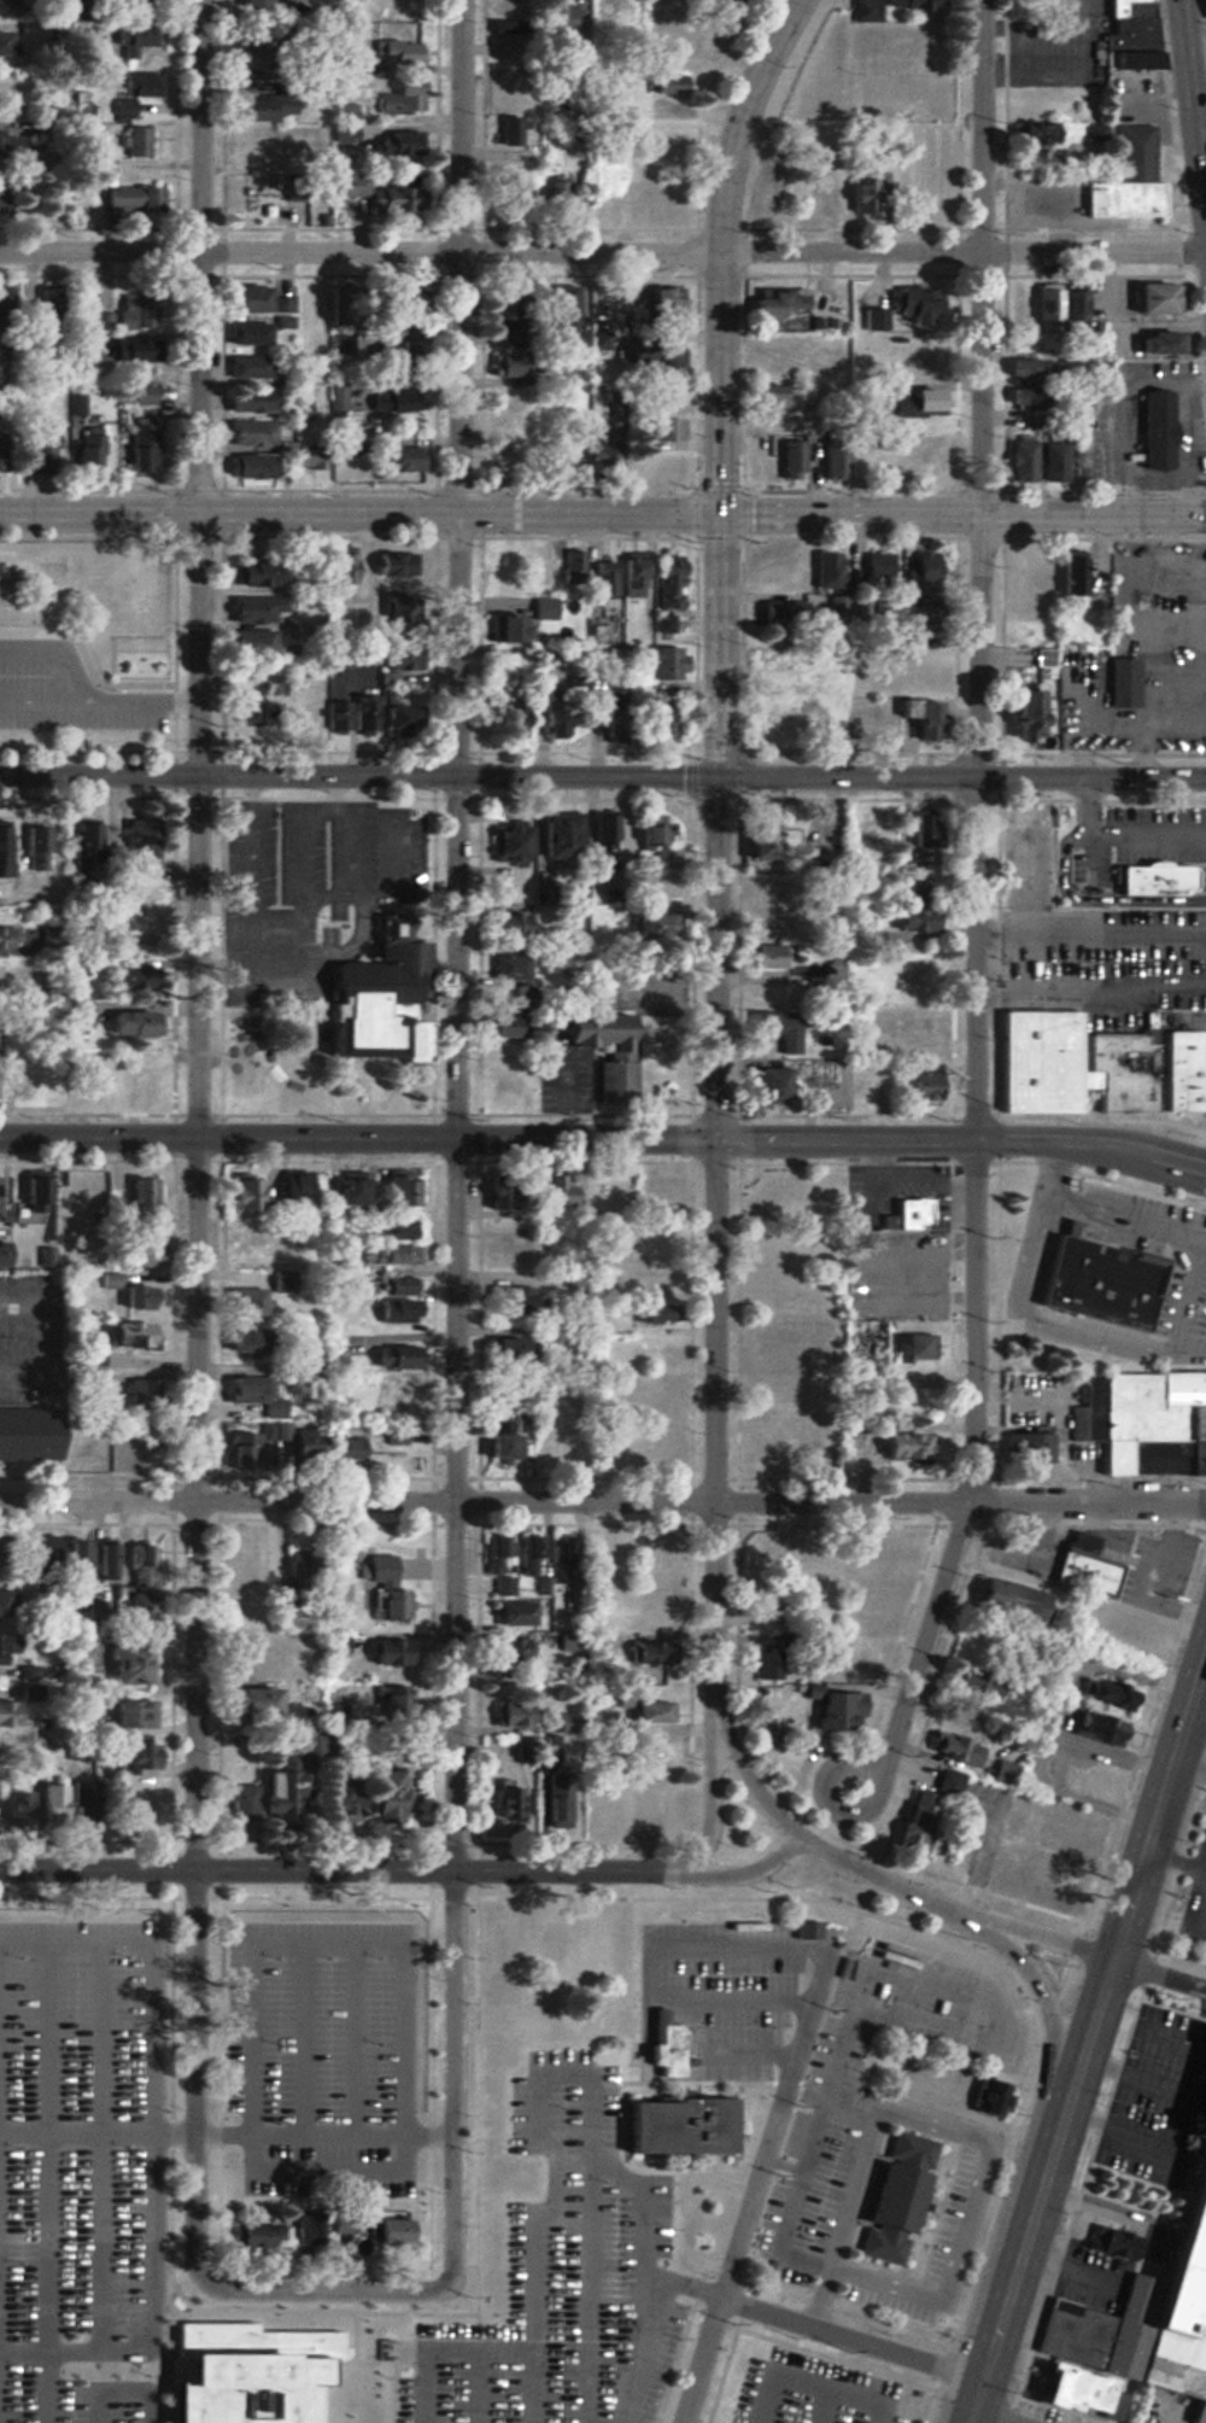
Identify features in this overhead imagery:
building: (7, 1)
building: (128, 2)
building: (1024, 2)
building: (250, 4)
building: (394, 4)
building: (339, 6)
building: (883, 7)
building: (1202, 10)
building: (555, 21)
building: (1126, 34)
building: (508, 39)
building: (130, 41)
building: (4, 46)
building: (903, 49)
building: (396, 52)
building: (666, 83)
building: (6, 87)
building: (135, 89)
building: (399, 98)
road: (1193, 98)
building: (519, 101)
building: (1026, 103)
building: (264, 107)
building: (511, 133)
building: (1034, 133)
building: (343, 134)
building: (133, 141)
building: (8, 146)
building: (392, 147)
building: (1131, 150)
building: (1032, 160)
building: (923, 188)
building: (557, 191)
building: (816, 191)
building: (510, 193)
building: (863, 194)
building: (384, 195)
building: (772, 198)
building: (4, 199)
building: (150, 199)
building: (1122, 199)
building: (117, 200)
road: (720, 250)
road: (603, 252)
building: (0, 296)
building: (1153, 297)
building: (247, 298)
building: (1019, 299)
building: (777, 300)
building: (1059, 302)
building: (306, 303)
building: (662, 303)
building: (913, 304)
building: (393, 305)
building: (564, 306)
building: (46, 308)
building: (499, 308)
building: (872, 319)
building: (101, 321)
building: (247, 333)
building: (1152, 341)
building: (777, 343)
building: (1024, 344)
building: (919, 349)
building: (128, 351)
building: (651, 351)
building: (388, 354)
building: (0, 367)
building: (247, 367)
building: (504, 369)
building: (1020, 381)
building: (140, 395)
building: (654, 395)
building: (775, 396)
building: (503, 397)
building: (246, 401)
building: (390, 401)
building: (909, 403)
building: (300, 408)
building: (663, 430)
building: (1152, 430)
building: (247, 433)
building: (521, 442)
building: (142, 446)
building: (86, 449)
building: (601, 454)
building: (309, 456)
building: (35, 457)
building: (1018, 459)
building: (353, 460)
building: (400, 460)
building: (789, 460)
building: (918, 460)
building: (1049, 461)
building: (833, 462)
building: (652, 463)
building: (246, 467)
building: (546, 469)
road: (361, 514)
road: (965, 516)
building: (537, 561)
building: (388, 564)
building: (572, 566)
building: (878, 566)
building: (343, 568)
building: (775, 571)
building: (824, 571)
building: (253, 573)
building: (919, 573)
building: (1062, 574)
building: (632, 576)
building: (1026, 576)
building: (604, 582)
building: (666, 582)
building: (1095, 601)
building: (778, 608)
building: (252, 609)
building: (902, 619)
building: (662, 625)
building: (511, 631)
building: (248, 642)
road: (720, 649)
building: (666, 662)
building: (901, 670)
building: (1119, 682)
road: (83, 695)
building: (363, 713)
building: (1021, 713)
building: (393, 714)
building: (551, 714)
building: (335, 717)
building: (826, 717)
building: (917, 717)
building: (305, 718)
building: (515, 723)
building: (661, 723)
building: (772, 728)
road: (358, 777)
road: (961, 782)
building: (605, 834)
building: (555, 836)
building: (649, 836)
building: (921, 837)
building: (755, 839)
building: (37, 842)
building: (86, 842)
building: (134, 843)
building: (505, 843)
building: (4, 852)
building: (1151, 878)
road: (970, 888)
building: (655, 892)
building: (909, 893)
building: (911, 921)
building: (505, 926)
building: (648, 927)
building: (119, 930)
building: (8, 939)
building: (873, 941)
building: (46, 945)
building: (768, 958)
road: (716, 962)
building: (510, 967)
building: (911, 979)
building: (131, 980)
building: (11, 981)
building: (769, 996)
building: (375, 1004)
building: (505, 1011)
building: (76, 1015)
building: (128, 1024)
building: (775, 1028)
building: (912, 1029)
building: (617, 1058)
building: (1089, 1067)
building: (236, 1079)
building: (762, 1085)
building: (836, 1085)
building: (287, 1086)
building: (499, 1087)
building: (917, 1088)
road: (358, 1139)
road: (962, 1140)
road: (198, 1146)
road: (458, 1146)
building: (345, 1187)
building: (396, 1189)
building: (80, 1192)
building: (554, 1192)
building: (657, 1192)
building: (818, 1192)
building: (29, 1193)
building: (291, 1193)
building: (244, 1195)
building: (141, 1203)
road: (1100, 1208)
building: (914, 1214)
building: (394, 1230)
building: (519, 1248)
building: (391, 1255)
road: (1031, 1255)
building: (139, 1256)
building: (0, 1257)
building: (247, 1257)
building: (1095, 1280)
building: (386, 1286)
road: (1185, 1290)
building: (133, 1297)
building: (508, 1301)
building: (244, 1302)
building: (652, 1314)
building: (122, 1335)
building: (773, 1339)
road: (1113, 1339)
building: (246, 1343)
building: (914, 1345)
building: (499, 1348)
building: (392, 1358)
building: (312, 1360)
building: (648, 1382)
building: (248, 1388)
road: (716, 1411)
building: (397, 1412)
building: (1142, 1420)
building: (22, 1438)
building: (497, 1438)
building: (303, 1442)
building: (902, 1443)
building: (1023, 1446)
building: (240, 1447)
building: (347, 1448)
building: (84, 1453)
building: (751, 1453)
road: (603, 1502)
building: (756, 1548)
building: (77, 1555)
building: (526, 1558)
building: (36, 1559)
building: (104, 1560)
building: (609, 1560)
building: (135, 1561)
building: (499, 1564)
building: (558, 1564)
building: (244, 1565)
building: (657, 1565)
building: (1082, 1565)
building: (298, 1569)
building: (340, 1592)
building: (871, 1594)
building: (1009, 1600)
building: (0, 1605)
building: (390, 1605)
building: (134, 1607)
building: (511, 1613)
building: (644, 1615)
building: (568, 1641)
building: (2, 1650)
building: (385, 1651)
building: (504, 1651)
building: (262, 1653)
building: (643, 1653)
building: (845, 1657)
building: (766, 1664)
building: (125, 1665)
building: (972, 1682)
building: (1105, 1694)
building: (252, 1699)
building: (393, 1705)
building: (643, 1706)
building: (822, 1706)
building: (128, 1712)
building: (8, 1713)
building: (510, 1713)
building: (567, 1723)
building: (1095, 1729)
building: (956, 1748)
building: (523, 1750)
building: (133, 1755)
road: (743, 1765)
building: (1001, 1771)
road: (712, 1782)
building: (1085, 1783)
building: (946, 1786)
building: (131, 1794)
building: (384, 1796)
building: (644, 1796)
building: (263, 1797)
building: (555, 1799)
building: (505, 1802)
building: (45, 1803)
road: (826, 1803)
building: (340, 1805)
building: (12, 1808)
building: (604, 1809)
road: (1159, 1811)
building: (912, 1821)
building: (1073, 1832)
road: (339, 1872)
road: (744, 1872)
road: (877, 1874)
building: (5, 1926)
building: (333, 1928)
building: (399, 1928)
building: (294, 1929)
building: (803, 1929)
building: (77, 1934)
road: (1034, 1936)
building: (494, 1938)
building: (39, 1940)
building: (601, 1951)
road: (650, 1963)
road: (904, 1967)
road: (1159, 1975)
parking lot: (725, 1989)
road: (1048, 2004)
building: (657, 2049)
road: (1085, 2050)
road: (751, 2055)
building: (988, 2100)
building: (332, 2104)
building: (382, 2112)
road: (778, 2112)
road: (538, 2113)
road: (850, 2115)
road: (1171, 2120)
building: (683, 2125)
road: (960, 2133)
parking lot: (888, 2142)
building: (257, 2144)
building: (510, 2179)
road: (122, 2189)
building: (879, 2190)
road: (648, 2205)
building: (305, 2230)
building: (387, 2230)
road: (22, 2235)
road: (70, 2235)
building: (258, 2235)
road: (785, 2236)
building: (1108, 2244)
road: (1069, 2271)
road: (1014, 2281)
road: (323, 2293)
parking lot: (527, 2293)
building: (1152, 2293)
parking lot: (115, 2318)
road: (650, 2319)
road: (43, 2328)
road: (853, 2340)
road: (141, 2351)
road: (351, 2351)
road: (702, 2360)
road: (810, 2386)
road: (200, 2387)
road: (253, 2387)
road: (305, 2387)
road: (362, 2387)
road: (476, 2387)
road: (531, 2387)
building: (1070, 2390)
parking lot: (810, 2392)
road: (821, 2406)
road: (991, 2417)

